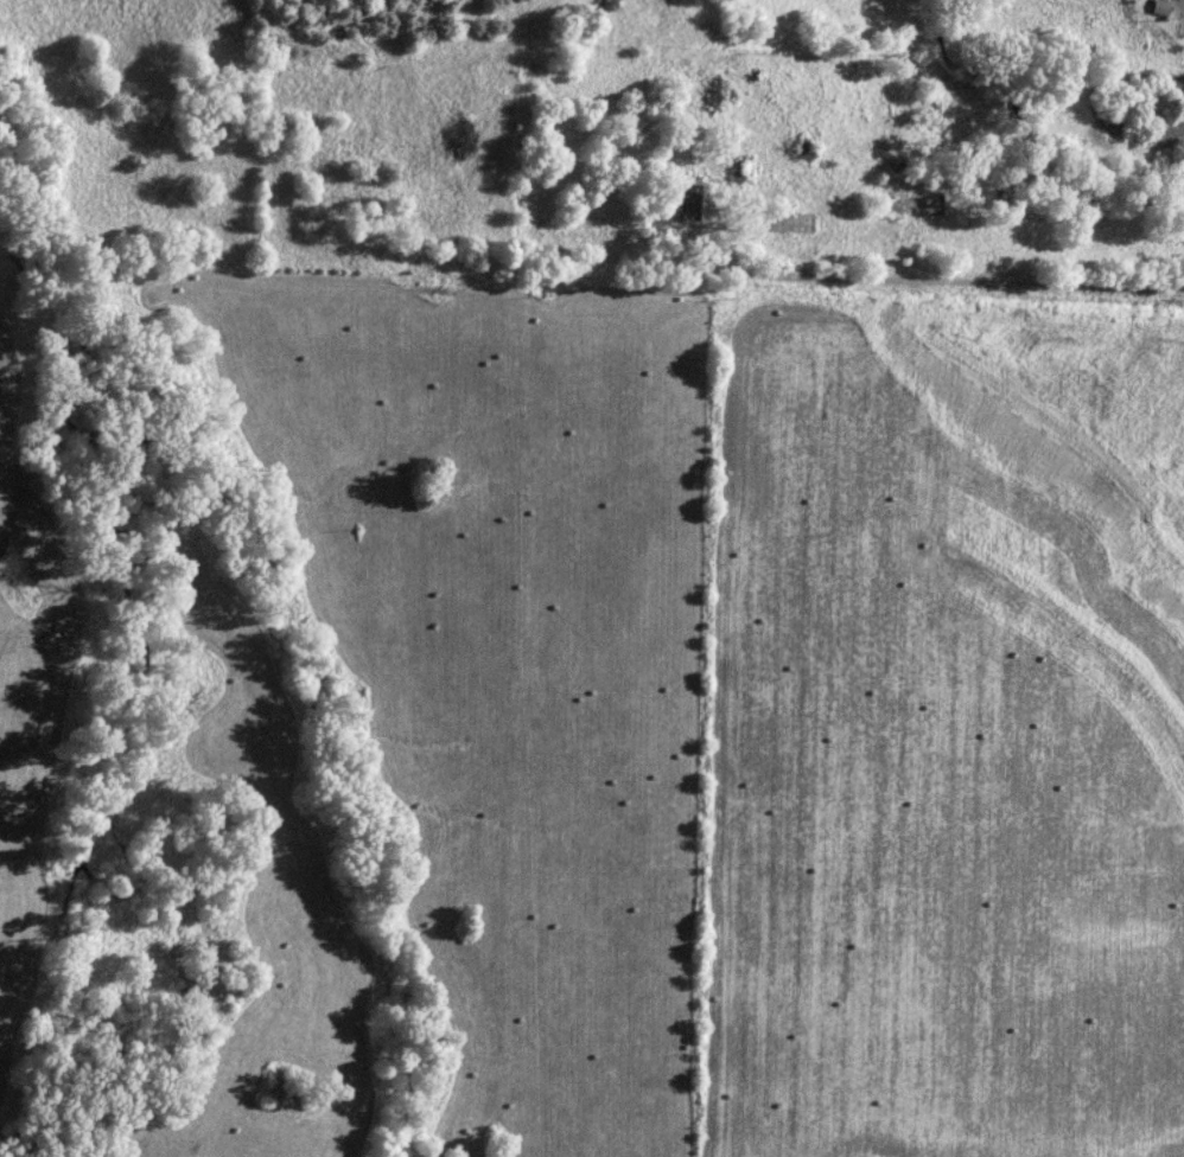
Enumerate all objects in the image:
building: (715, 101)
building: (686, 205)
road: (940, 253)
crop: (943, 728)

